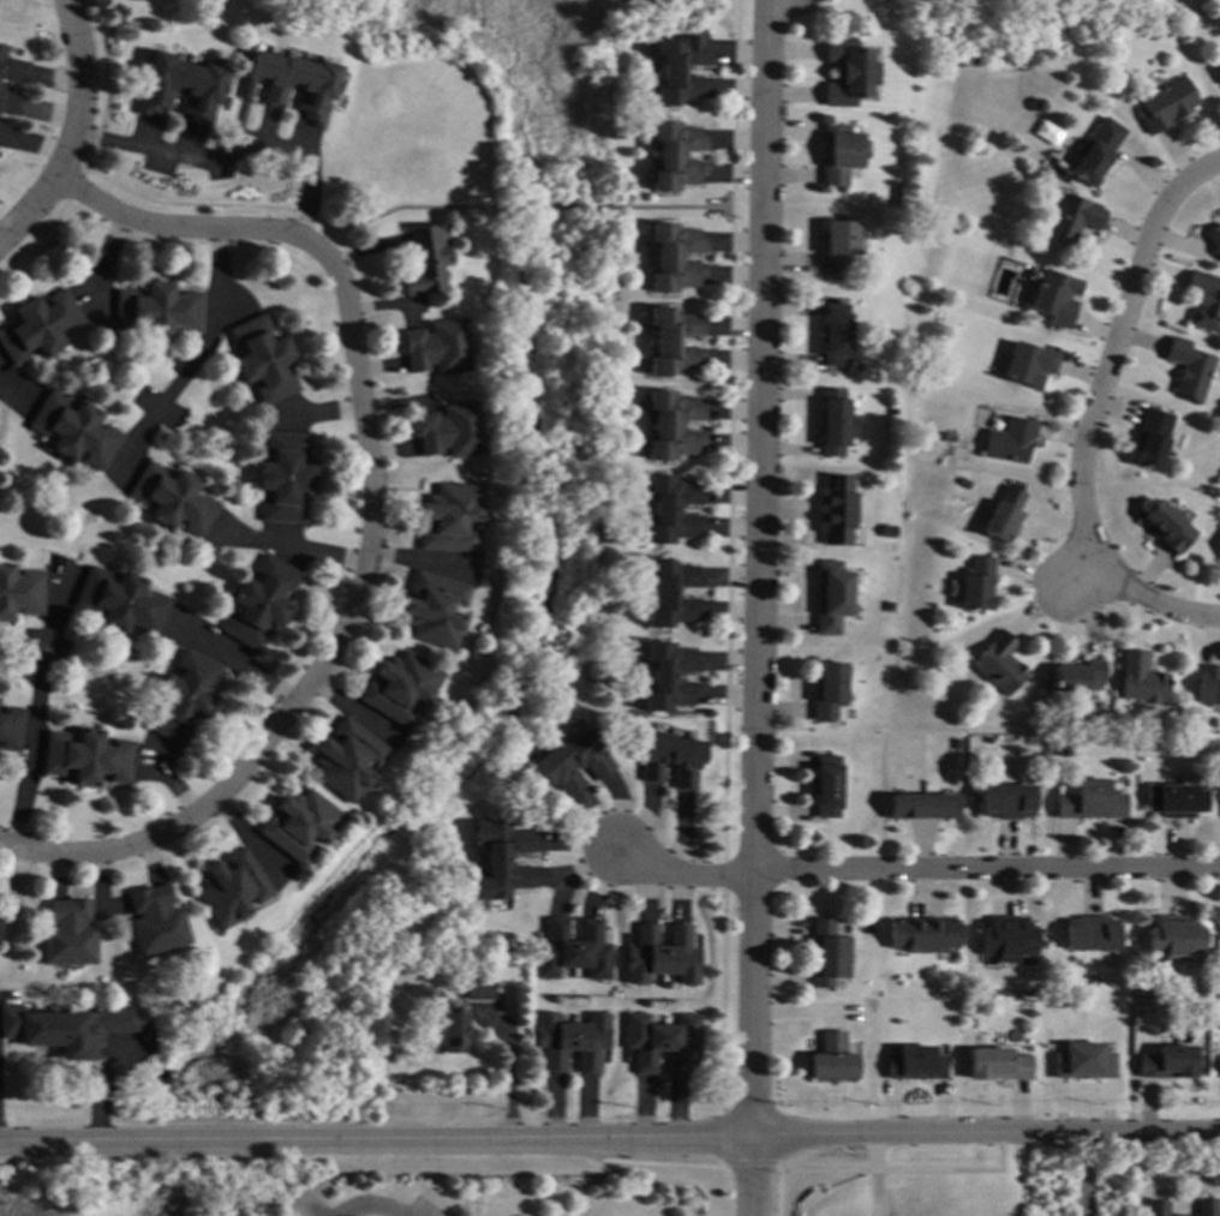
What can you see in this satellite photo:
building: (136, 0)
park: (1023, 5)
building: (11, 67)
building: (678, 70)
building: (1216, 72)
building: (849, 73)
building: (179, 88)
building: (315, 94)
building: (8, 103)
park: (464, 103)
building: (1036, 104)
building: (1165, 104)
road: (72, 128)
building: (4, 138)
building: (1094, 149)
road: (231, 151)
building: (839, 155)
building: (676, 156)
road: (411, 206)
road: (545, 206)
road: (669, 208)
building: (1069, 220)
building: (1213, 240)
building: (837, 245)
building: (675, 258)
building: (424, 260)
building: (1053, 296)
building: (1203, 300)
building: (156, 311)
building: (37, 327)
building: (833, 335)
building: (674, 342)
building: (437, 348)
road: (196, 357)
building: (262, 360)
building: (935, 363)
building: (1027, 364)
building: (1186, 369)
road: (4, 385)
road: (1090, 418)
building: (830, 423)
building: (672, 426)
building: (73, 431)
building: (450, 431)
building: (1009, 439)
building: (1150, 439)
building: (947, 449)
building: (283, 478)
building: (961, 484)
building: (172, 499)
building: (671, 510)
building: (835, 510)
building: (1003, 514)
building: (450, 517)
road: (378, 519)
building: (1166, 527)
road: (307, 555)
road: (425, 559)
road: (754, 570)
building: (976, 585)
building: (19, 592)
building: (670, 594)
building: (831, 597)
building: (121, 601)
building: (259, 603)
building: (889, 607)
building: (433, 610)
road: (237, 660)
building: (998, 664)
building: (1077, 676)
building: (669, 677)
building: (1140, 678)
building: (1208, 684)
building: (399, 688)
building: (829, 690)
building: (183, 697)
road: (36, 711)
building: (10, 729)
building: (1125, 739)
building: (956, 744)
building: (1064, 751)
building: (85, 757)
building: (669, 757)
building: (346, 760)
building: (572, 761)
building: (1120, 783)
road: (172, 784)
building: (826, 786)
building: (1173, 799)
building: (1006, 802)
building: (1089, 802)
building: (922, 807)
building: (298, 825)
building: (500, 859)
road: (680, 870)
road: (983, 870)
building: (228, 888)
building: (154, 920)
building: (0, 926)
building: (68, 934)
building: (923, 934)
building: (1090, 934)
building: (1006, 939)
building: (1173, 939)
building: (573, 950)
building: (829, 954)
building: (662, 956)
building: (1092, 983)
building: (409, 988)
building: (478, 989)
building: (1207, 1005)
building: (65, 1029)
building: (453, 1031)
building: (570, 1042)
building: (660, 1042)
building: (832, 1059)
building: (1083, 1062)
building: (1168, 1062)
building: (915, 1064)
building: (997, 1065)
building: (1219, 1065)
road: (515, 1074)
road: (610, 1144)
building: (35, 1156)
road: (1077, 1178)
road: (875, 1179)
road: (752, 1180)
building: (1206, 1208)
road: (366, 1209)
building: (1156, 1209)

